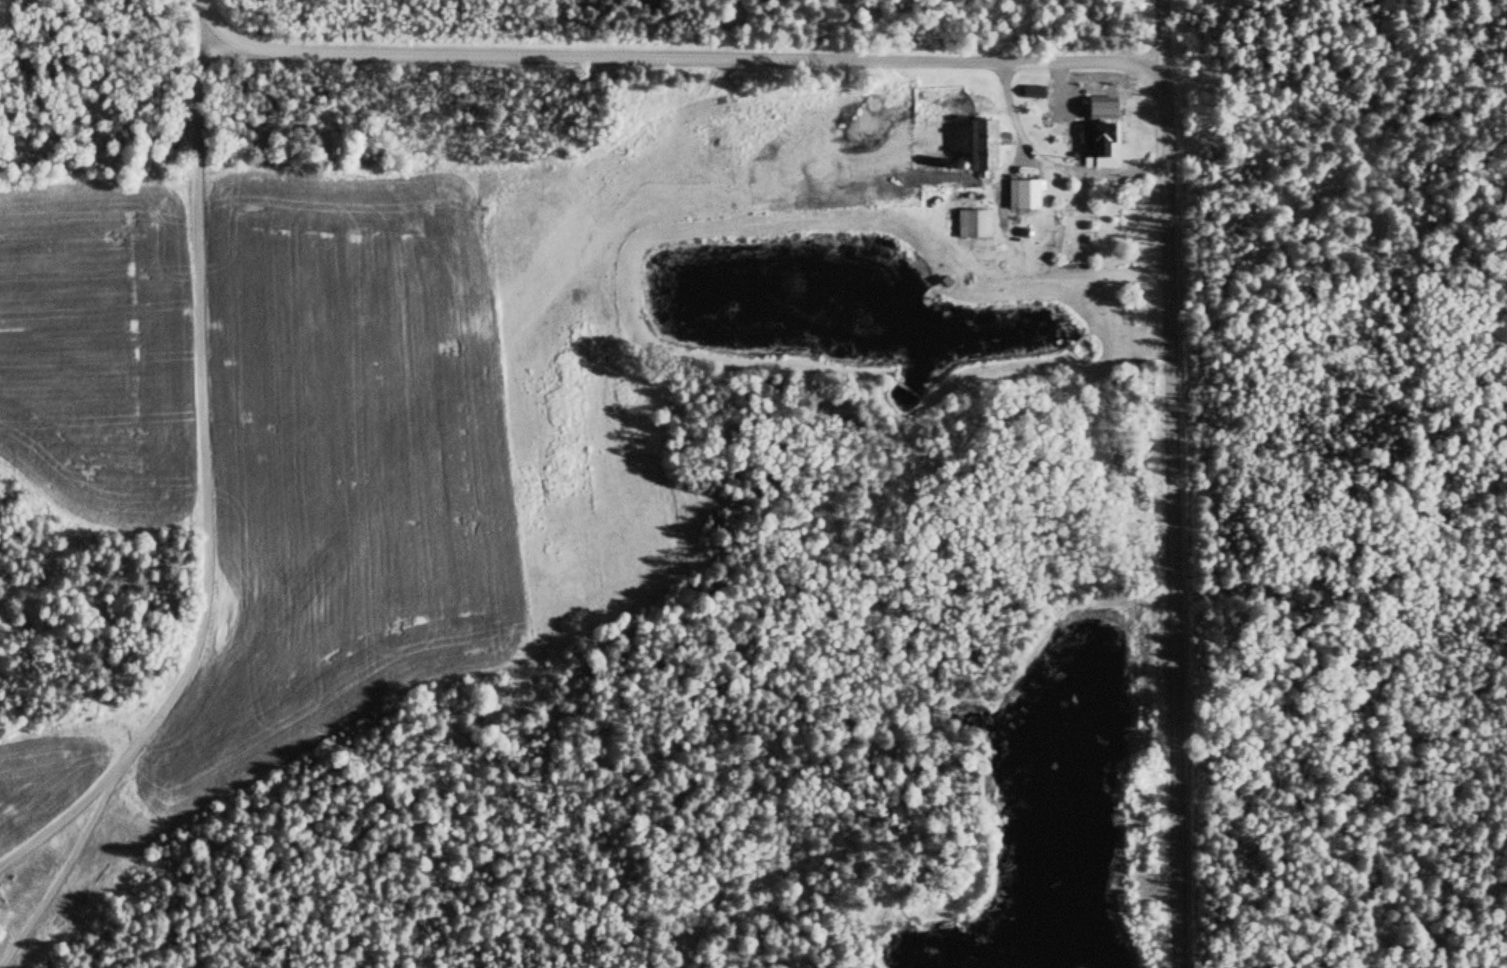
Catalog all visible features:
road: (1164, 32)
road: (1123, 63)
building: (1031, 91)
building: (1097, 141)
building: (980, 145)
road: (1048, 163)
building: (1022, 195)
building: (972, 225)
road: (208, 528)

